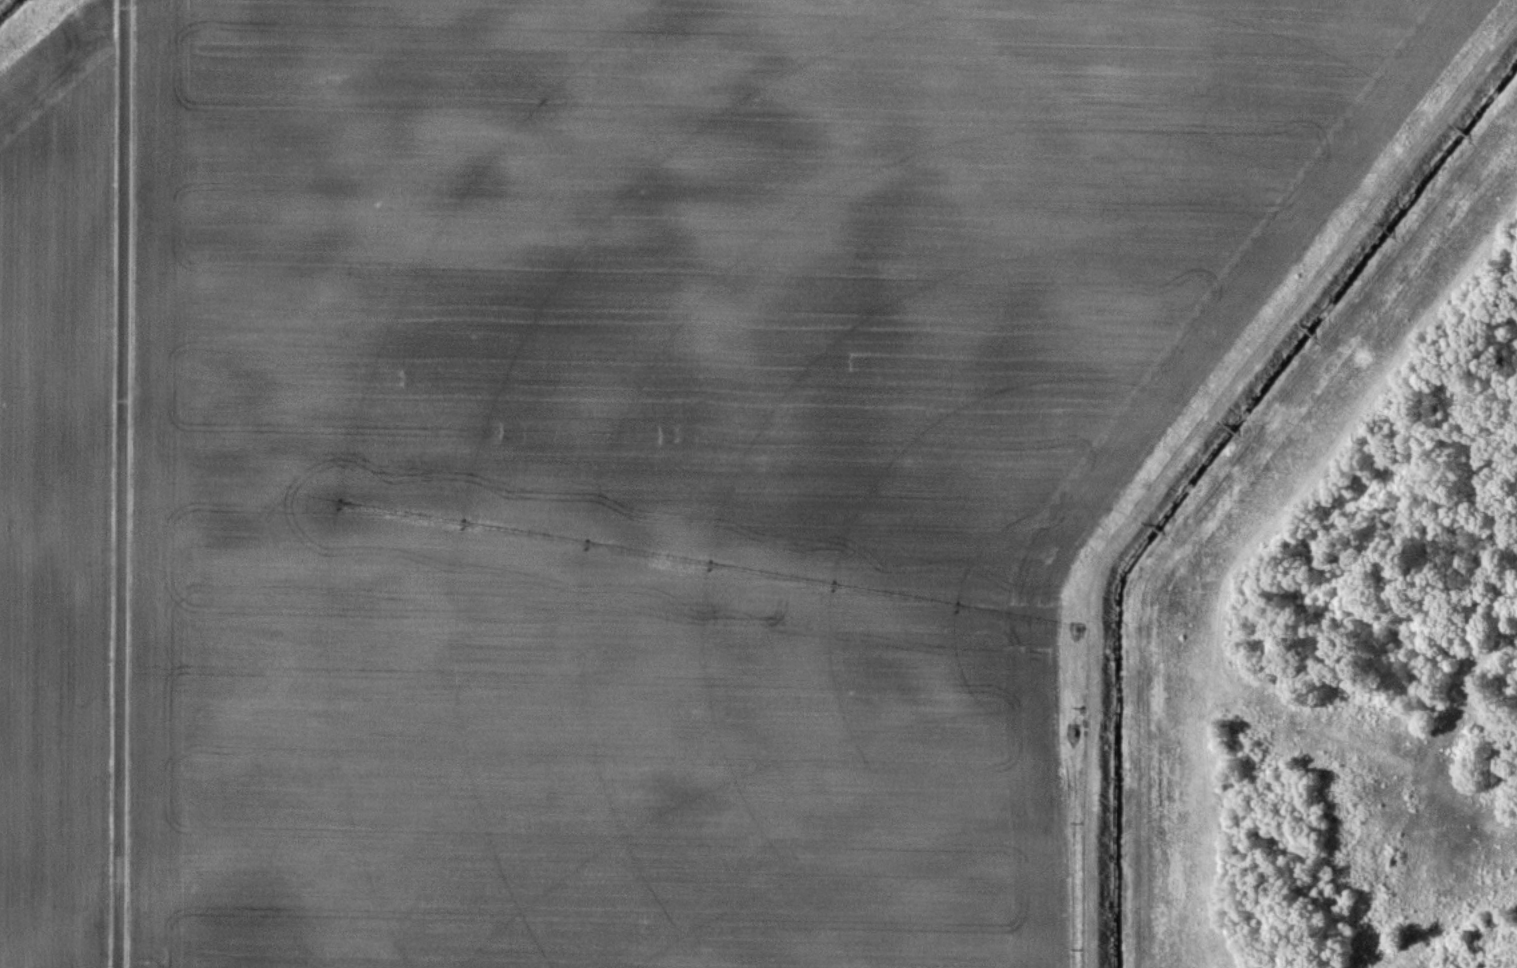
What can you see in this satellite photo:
road: (116, 484)

